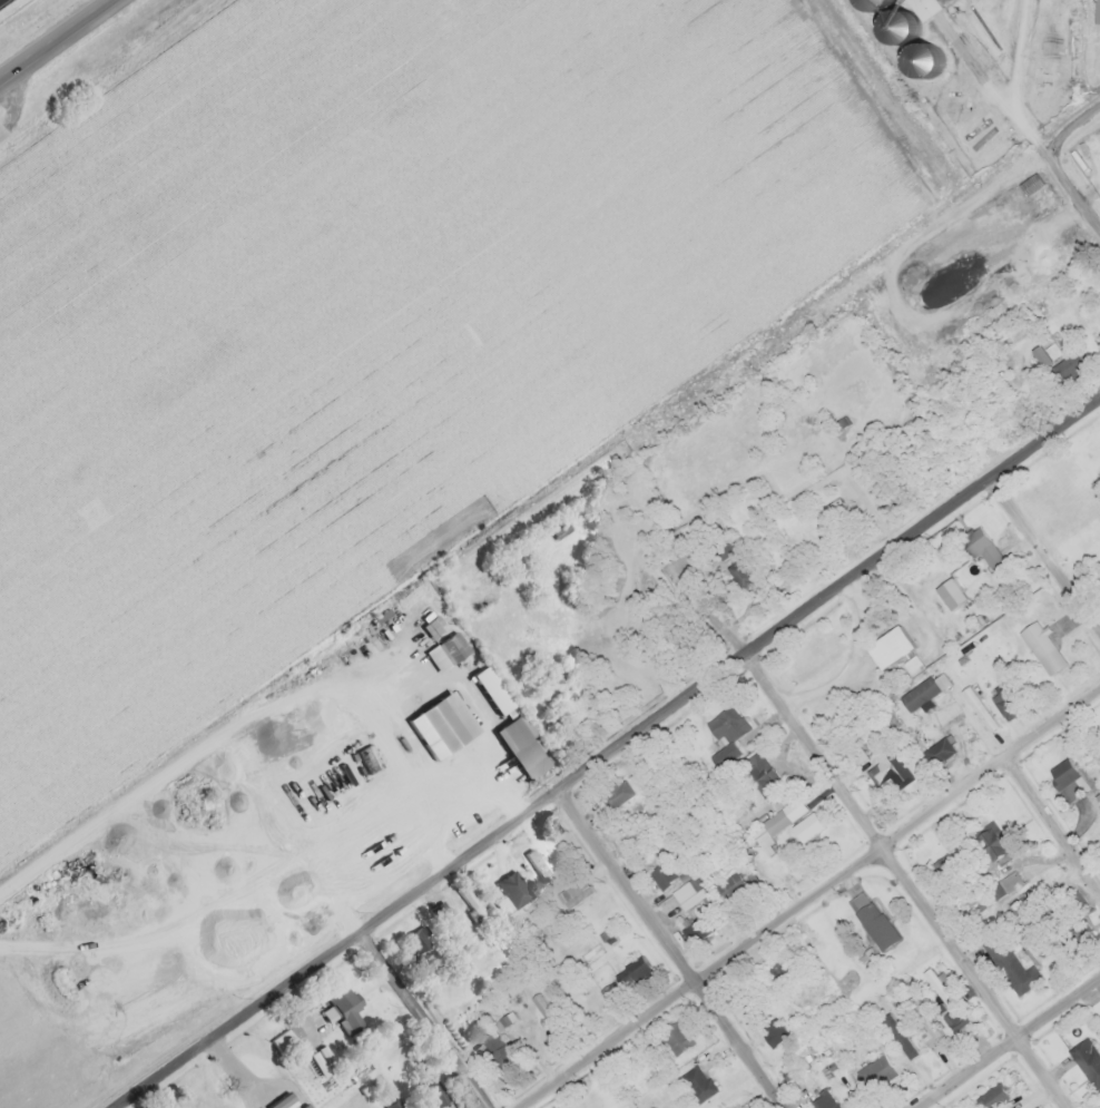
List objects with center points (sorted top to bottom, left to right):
building: (923, 7)
building: (1096, 11)
road: (52, 38)
road: (1020, 112)
road: (1073, 124)
building: (1063, 369)
building: (980, 546)
road: (1048, 546)
building: (739, 572)
building: (1097, 572)
building: (448, 646)
building: (887, 646)
building: (1040, 647)
building: (1000, 705)
building: (442, 719)
building: (725, 731)
building: (513, 746)
building: (936, 752)
road: (603, 754)
building: (886, 767)
building: (759, 775)
building: (1065, 779)
building: (615, 794)
building: (792, 808)
road: (1054, 814)
building: (805, 825)
building: (632, 839)
building: (988, 840)
building: (533, 865)
building: (942, 870)
building: (660, 875)
road: (909, 880)
building: (733, 882)
building: (1002, 885)
building: (508, 889)
building: (572, 893)
building: (687, 893)
road: (808, 898)
building: (1074, 902)
building: (870, 920)
building: (414, 938)
road: (671, 948)
building: (1009, 965)
building: (629, 972)
building: (777, 972)
building: (606, 992)
building: (538, 1002)
building: (338, 1009)
road: (426, 1014)
building: (922, 1021)
building: (957, 1023)
building: (770, 1032)
building: (284, 1036)
building: (675, 1037)
road: (1009, 1042)
building: (498, 1052)
building: (1084, 1061)
building: (873, 1072)
building: (695, 1084)
building: (430, 1091)
building: (990, 1097)
building: (823, 1101)
building: (391, 1104)

